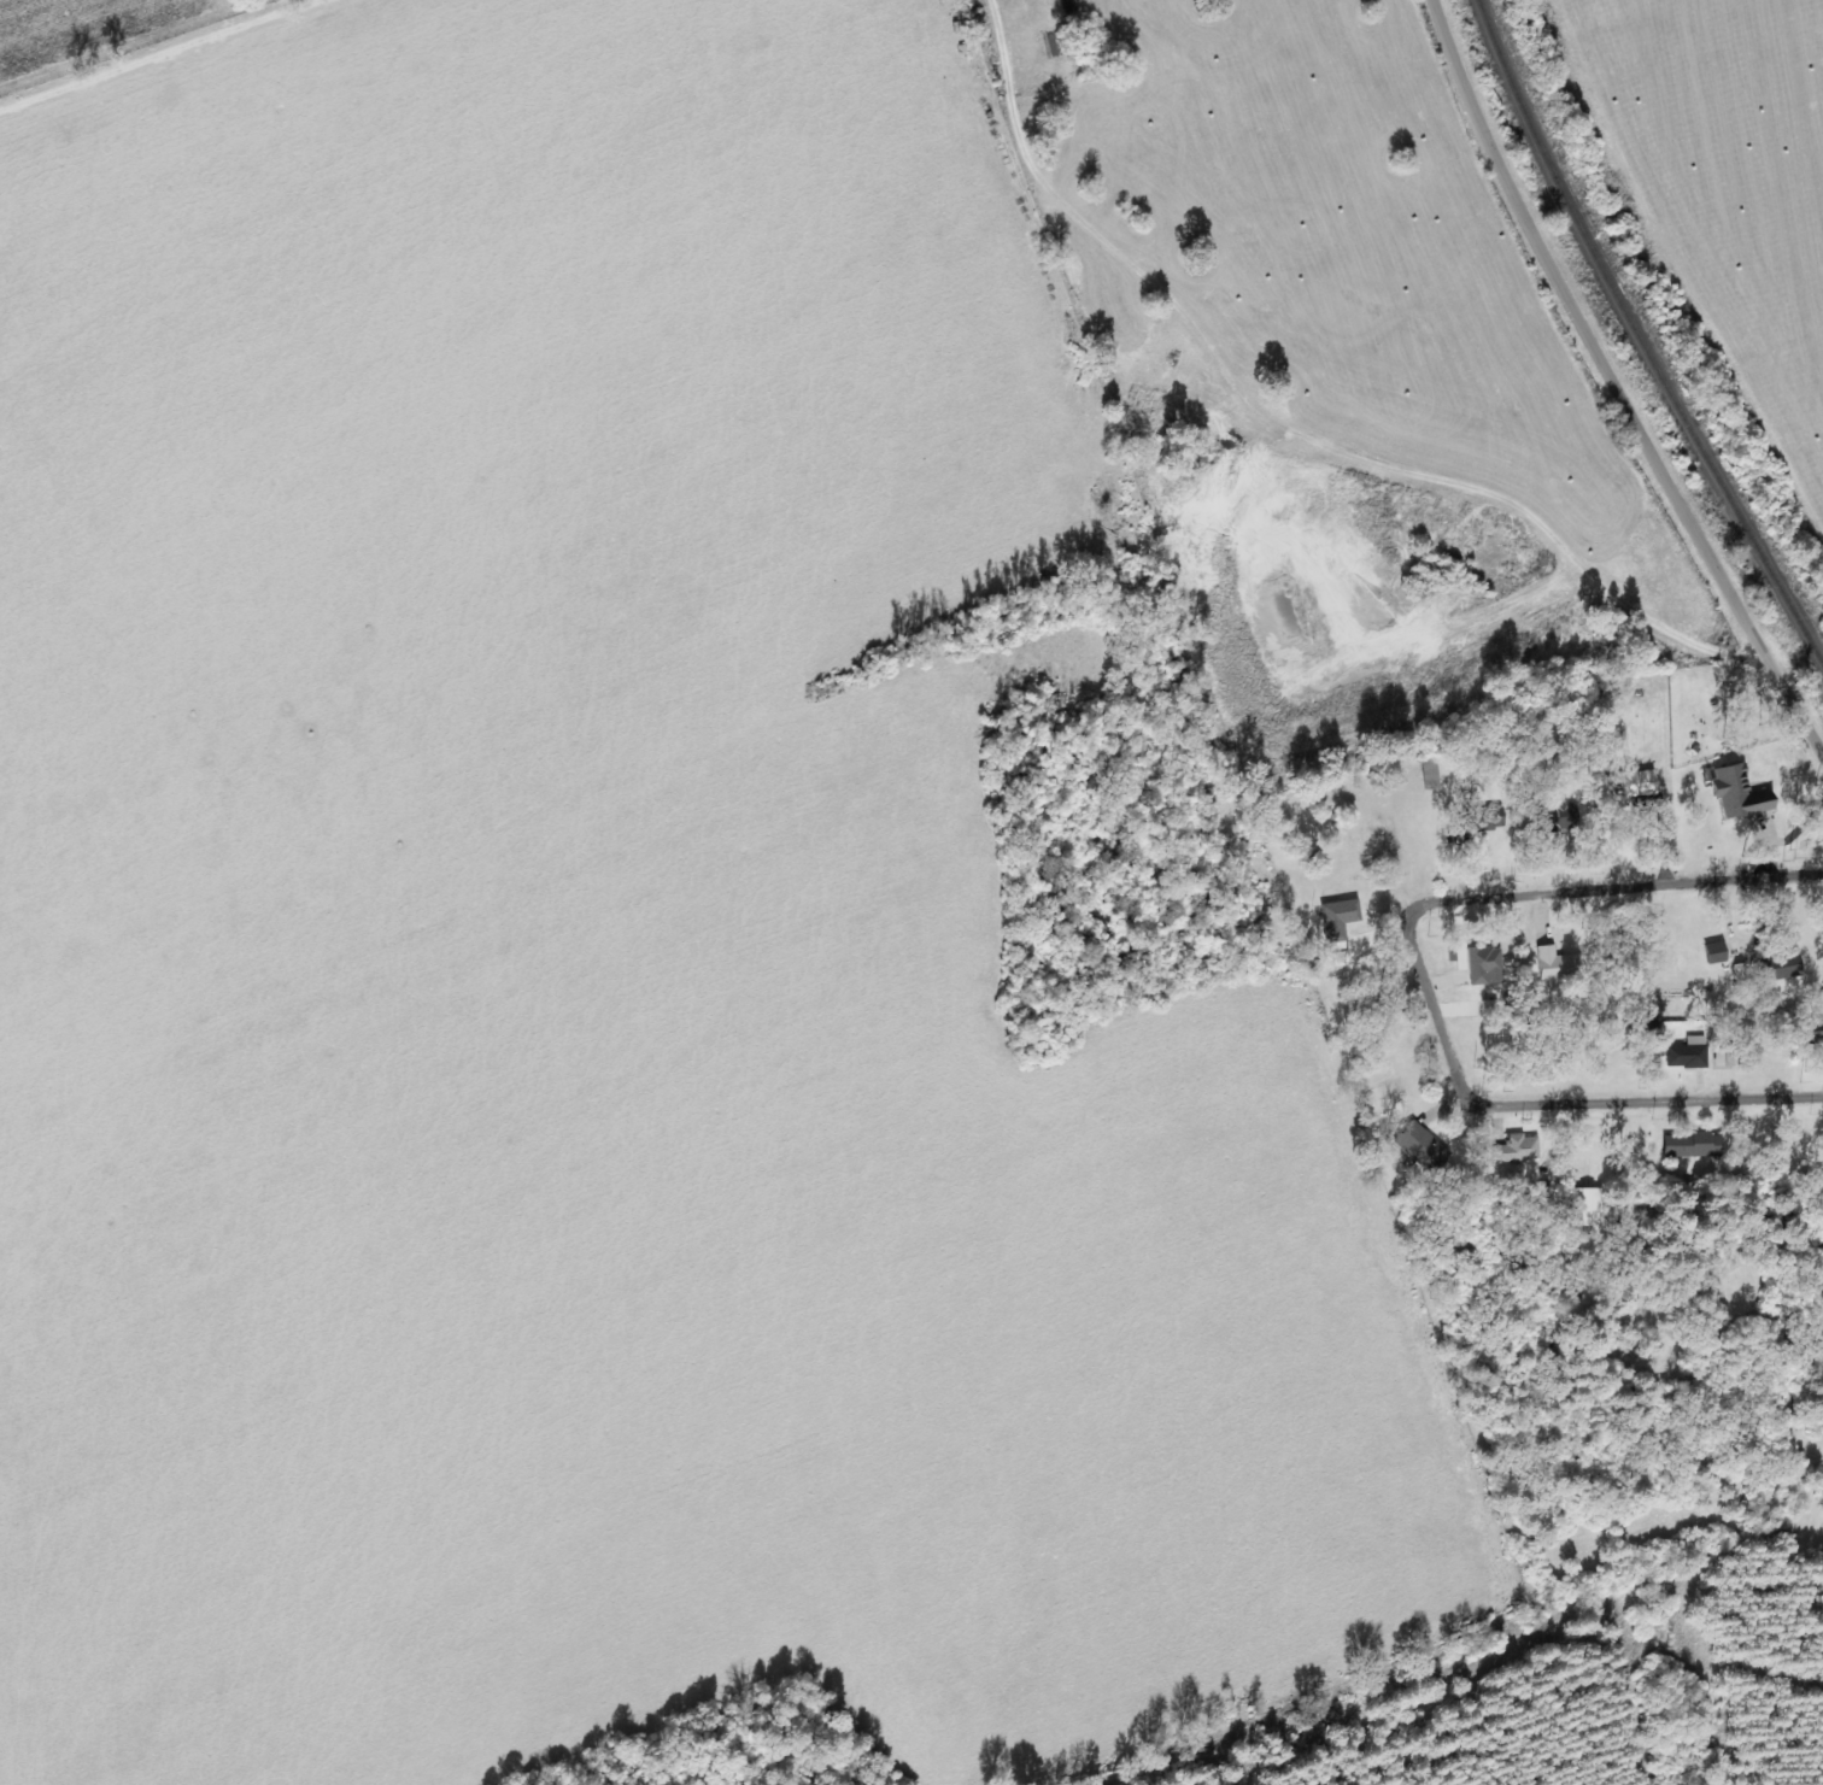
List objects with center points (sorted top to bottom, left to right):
railway: (1640, 336)
road: (1588, 393)
building: (1430, 774)
building: (1635, 787)
building: (1741, 794)
building: (1484, 820)
building: (1340, 917)
building: (1717, 951)
building: (1558, 965)
building: (1485, 967)
building: (1822, 1002)
building: (1490, 1008)
building: (1816, 1029)
building: (1689, 1053)
building: (1724, 1057)
building: (1694, 1145)
building: (1423, 1147)
building: (1518, 1149)

